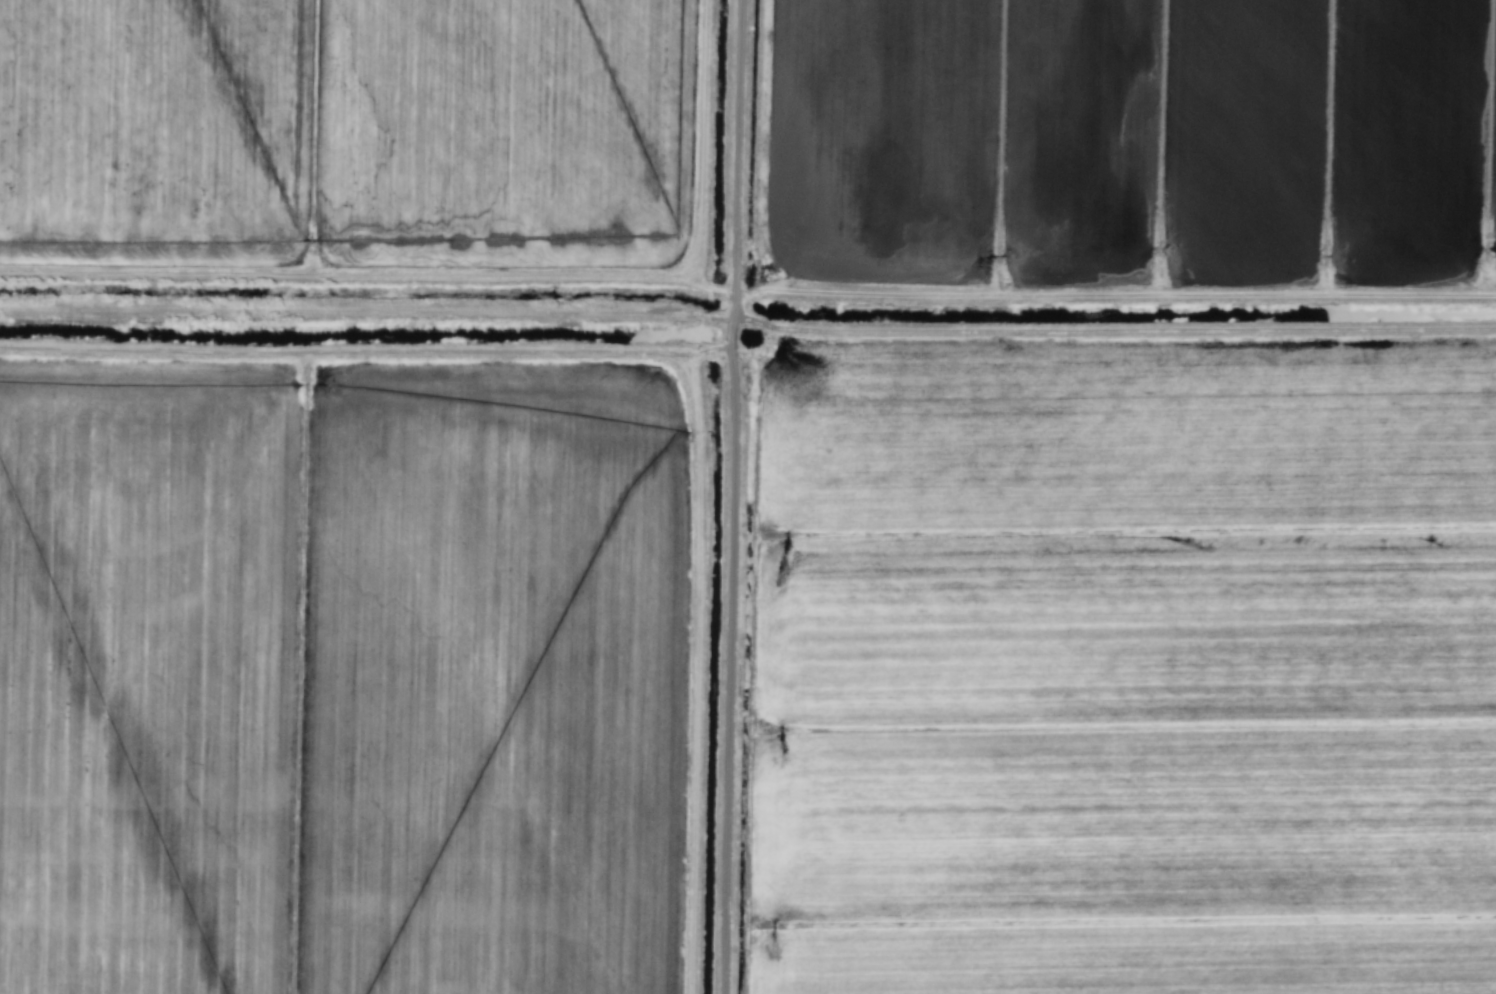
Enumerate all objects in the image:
road: (736, 174)
road: (365, 351)
crop: (748, 497)
road: (730, 670)

